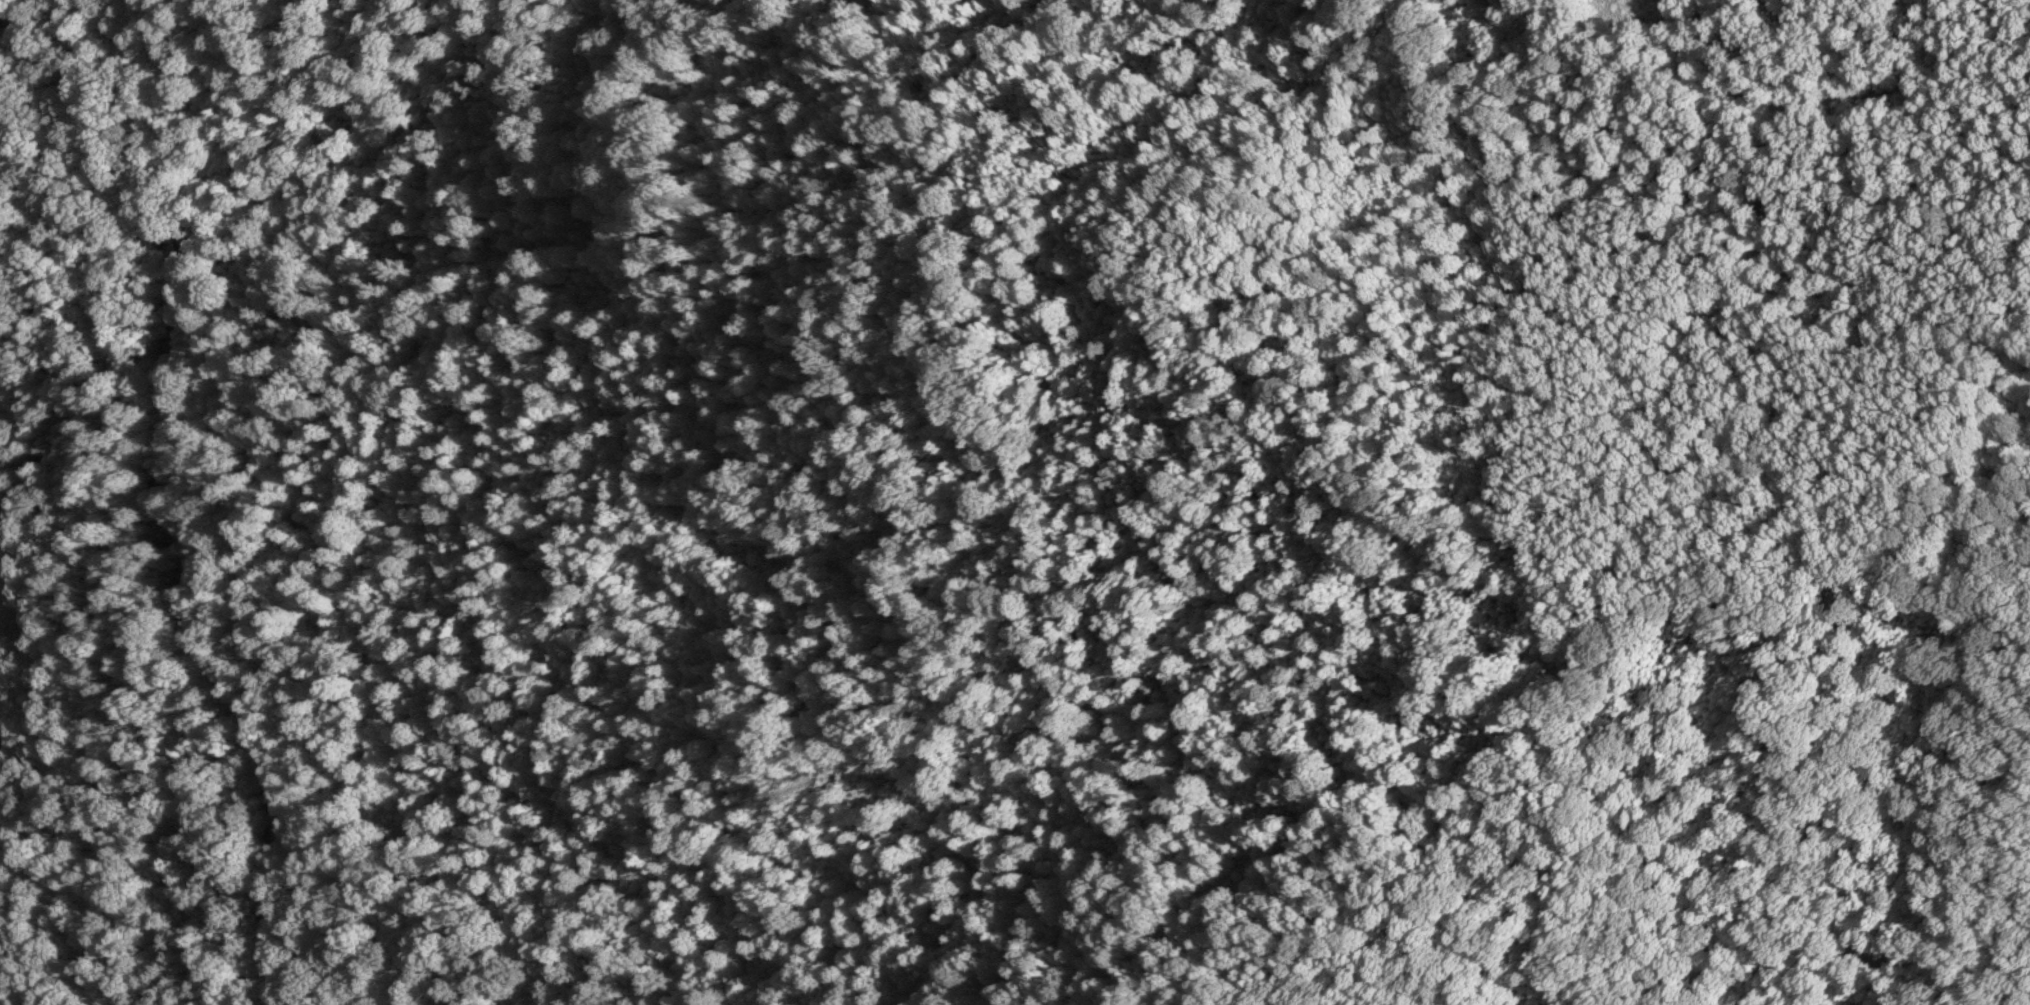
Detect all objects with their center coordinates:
road: (211, 484)

